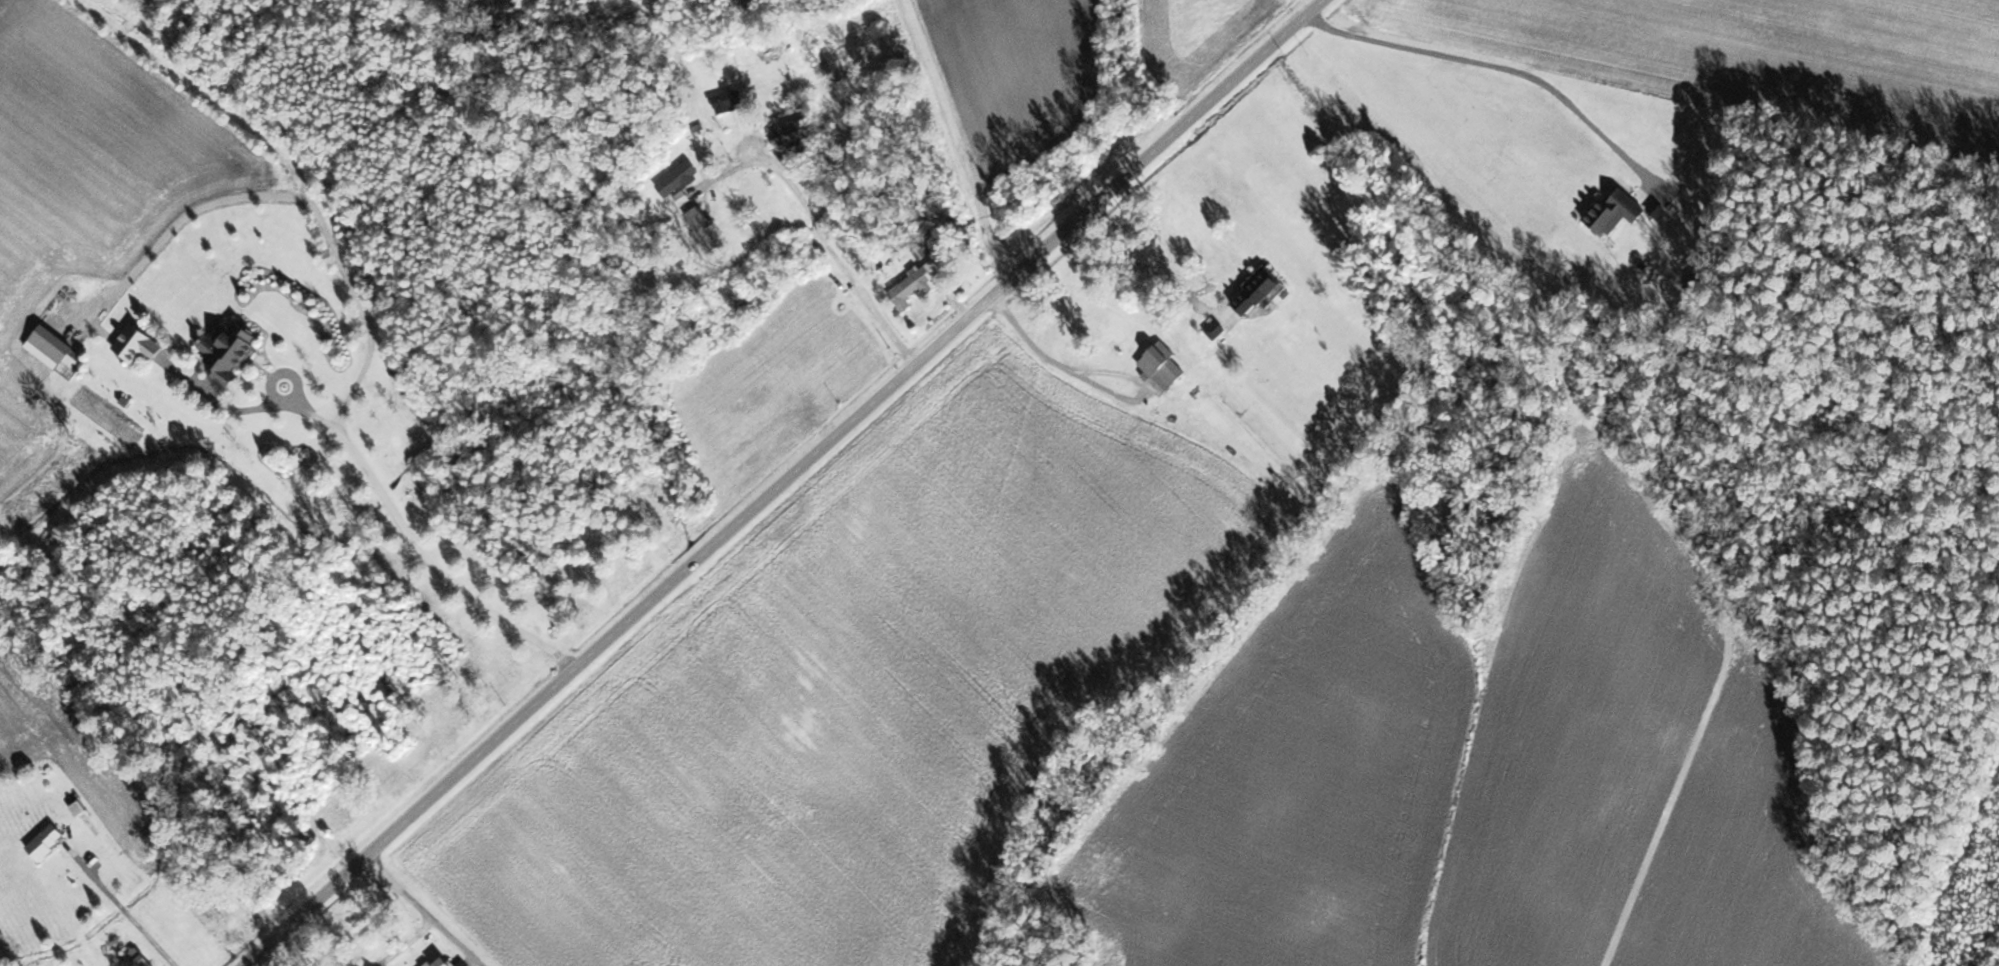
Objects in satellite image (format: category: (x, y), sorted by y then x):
building: (793, 130)
road: (959, 140)
building: (677, 178)
building: (1613, 210)
building: (676, 240)
road: (834, 243)
building: (913, 283)
building: (1255, 289)
building: (135, 342)
building: (57, 344)
building: (227, 348)
building: (1162, 364)
building: (397, 379)
road: (782, 482)
building: (44, 840)
road: (126, 905)
road: (425, 910)
building: (136, 956)
building: (440, 962)

